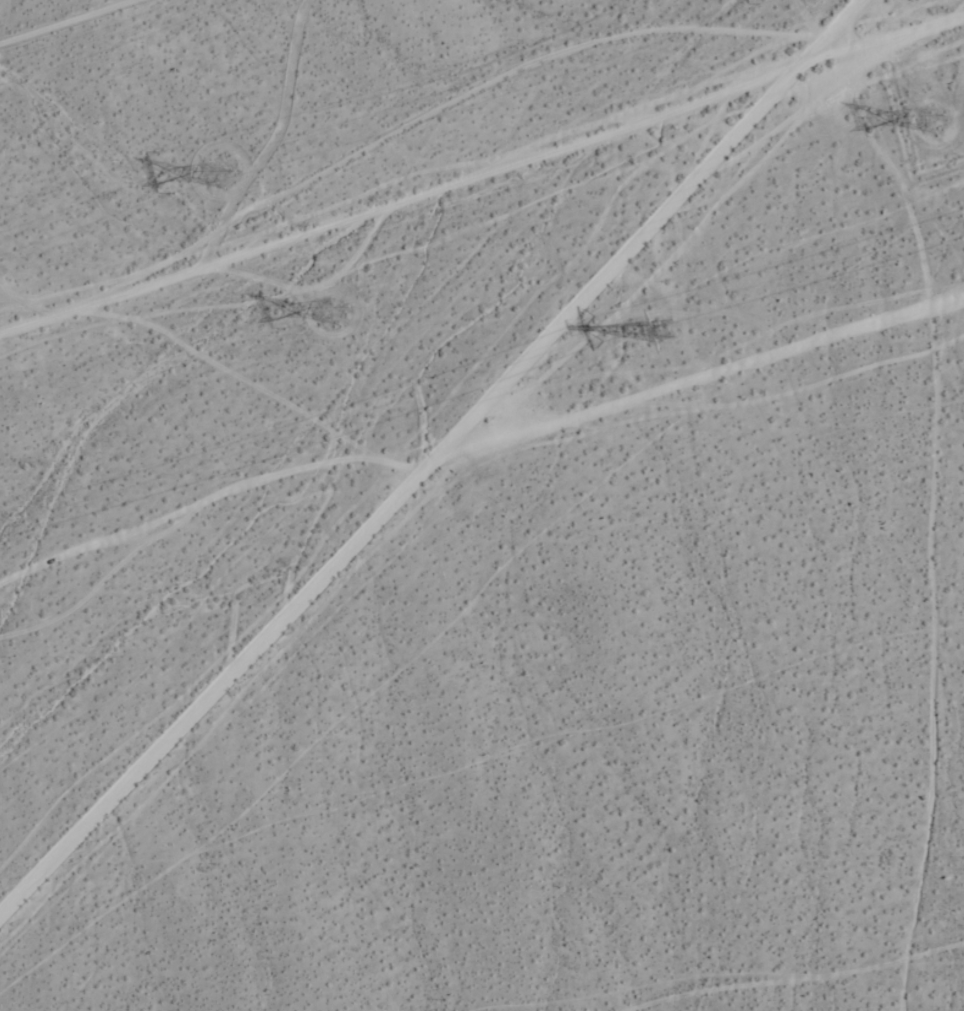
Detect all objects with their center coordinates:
power tower: (946, 124)
road: (483, 167)
power tower: (228, 176)
power tower: (349, 308)
power tower: (676, 330)
road: (707, 367)
road: (434, 466)
road: (797, 980)

